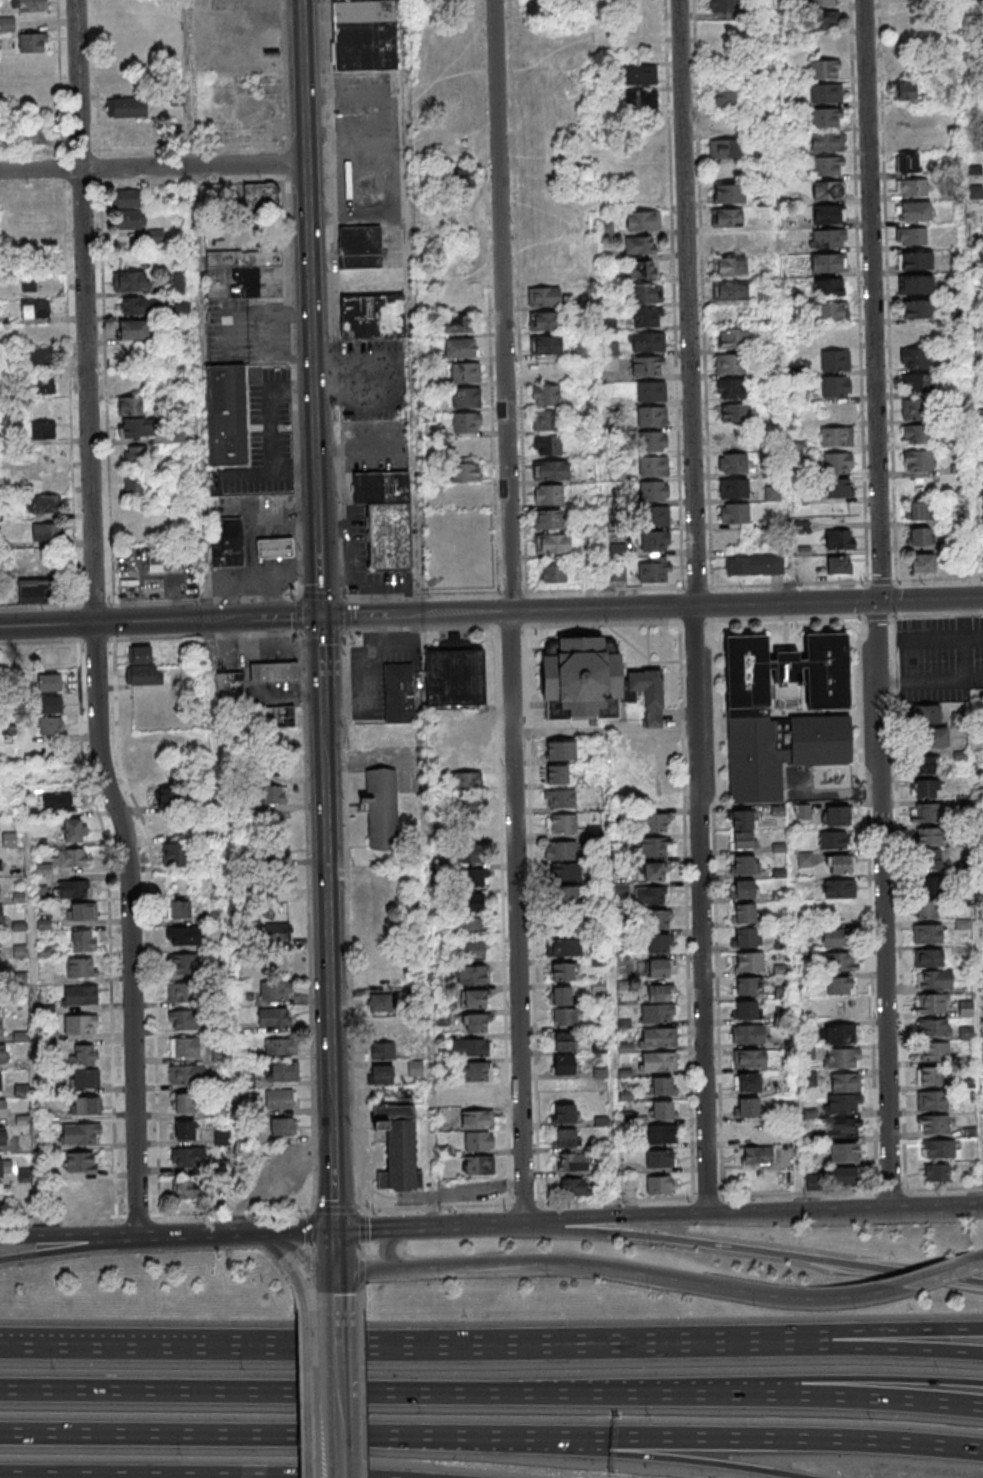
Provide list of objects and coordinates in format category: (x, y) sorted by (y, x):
building: (822, 3)
building: (29, 5)
building: (723, 7)
building: (822, 22)
building: (366, 36)
building: (32, 42)
building: (823, 70)
building: (640, 74)
building: (904, 90)
building: (824, 94)
building: (641, 99)
building: (724, 100)
building: (126, 107)
building: (825, 118)
building: (128, 131)
building: (35, 134)
building: (826, 142)
building: (725, 148)
building: (906, 163)
building: (826, 166)
road: (152, 167)
building: (459, 179)
building: (912, 188)
building: (827, 190)
building: (729, 193)
building: (262, 198)
building: (127, 210)
building: (914, 212)
building: (828, 214)
building: (726, 217)
building: (643, 220)
building: (913, 236)
building: (827, 238)
building: (729, 241)
building: (640, 245)
building: (360, 247)
building: (915, 260)
building: (828, 262)
building: (730, 266)
building: (641, 269)
building: (244, 274)
building: (29, 280)
building: (130, 280)
building: (180, 282)
building: (916, 284)
building: (829, 286)
building: (730, 290)
road: (859, 291)
road: (888, 291)
building: (645, 293)
building: (544, 296)
road: (966, 299)
building: (462, 301)
road: (779, 301)
road: (686, 303)
road: (596, 304)
building: (141, 305)
road: (409, 307)
building: (35, 308)
building: (918, 308)
building: (182, 309)
road: (197, 310)
building: (829, 310)
building: (373, 316)
building: (647, 317)
building: (545, 320)
building: (458, 325)
building: (134, 329)
building: (732, 339)
building: (648, 342)
building: (545, 344)
building: (460, 348)
building: (38, 358)
building: (916, 359)
building: (836, 362)
building: (729, 364)
building: (648, 365)
building: (465, 373)
building: (919, 382)
building: (43, 387)
building: (835, 387)
building: (730, 388)
building: (651, 391)
building: (545, 394)
building: (466, 398)
building: (129, 405)
building: (916, 409)
building: (229, 411)
building: (735, 413)
building: (651, 416)
building: (545, 419)
building: (467, 422)
building: (137, 427)
building: (43, 431)
road: (273, 431)
building: (918, 433)
building: (836, 436)
building: (653, 441)
building: (547, 444)
building: (135, 454)
building: (919, 461)
building: (842, 462)
building: (733, 463)
building: (653, 466)
building: (551, 470)
building: (465, 472)
building: (133, 483)
building: (838, 487)
building: (734, 488)
building: (654, 490)
building: (772, 493)
building: (548, 495)
building: (43, 504)
building: (917, 510)
building: (736, 513)
building: (656, 516)
building: (386, 517)
building: (548, 519)
road: (880, 528)
building: (46, 532)
building: (920, 536)
building: (840, 539)
building: (655, 541)
building: (552, 543)
building: (229, 544)
building: (275, 547)
building: (165, 561)
building: (922, 562)
building: (51, 564)
building: (754, 564)
building: (839, 565)
building: (655, 570)
building: (553, 573)
building: (618, 574)
building: (36, 591)
road: (491, 592)
road: (930, 599)
traffic signals: (877, 601)
road: (785, 604)
road: (507, 612)
road: (509, 612)
traffic signals: (320, 616)
road: (877, 616)
road: (782, 618)
road: (692, 620)
road: (93, 621)
road: (160, 621)
road: (602, 622)
road: (509, 624)
road: (418, 627)
road: (321, 632)
road: (962, 638)
road: (321, 655)
building: (48, 658)
building: (142, 667)
building: (275, 672)
building: (455, 675)
road: (929, 679)
building: (48, 682)
building: (594, 682)
building: (231, 690)
building: (399, 694)
building: (49, 704)
building: (927, 713)
building: (276, 717)
building: (51, 725)
road: (604, 730)
building: (934, 736)
building: (788, 740)
building: (561, 751)
building: (924, 765)
building: (273, 767)
building: (557, 774)
building: (464, 782)
building: (926, 789)
building: (273, 795)
building: (168, 798)
building: (559, 799)
building: (57, 802)
building: (470, 805)
building: (381, 808)
building: (930, 813)
building: (836, 815)
building: (741, 819)
building: (653, 822)
building: (561, 823)
building: (73, 829)
building: (470, 829)
building: (833, 840)
building: (742, 841)
building: (654, 846)
building: (930, 848)
building: (560, 851)
building: (469, 853)
building: (173, 855)
building: (805, 859)
building: (63, 860)
building: (839, 864)
building: (744, 865)
building: (654, 871)
building: (566, 872)
building: (472, 878)
building: (378, 881)
building: (932, 886)
building: (839, 888)
building: (64, 890)
building: (744, 890)
building: (564, 895)
building: (651, 895)
building: (473, 901)
building: (376, 905)
building: (178, 909)
road: (700, 909)
building: (81, 911)
building: (925, 911)
building: (744, 913)
building: (1, 914)
building: (658, 919)
road: (308, 920)
building: (563, 921)
road: (347, 923)
road: (230, 924)
building: (471, 925)
building: (279, 932)
building: (929, 934)
building: (183, 935)
building: (745, 938)
building: (838, 938)
building: (83, 940)
building: (658, 942)
road: (900, 942)
building: (563, 947)
building: (474, 950)
building: (928, 958)
building: (842, 962)
building: (185, 963)
building: (748, 963)
building: (80, 967)
building: (659, 967)
building: (563, 971)
building: (471, 974)
road: (609, 974)
road: (978, 975)
building: (934, 979)
building: (745, 986)
building: (840, 986)
building: (181, 992)
building: (276, 992)
building: (660, 992)
building: (79, 995)
building: (560, 995)
building: (474, 998)
building: (379, 1002)
building: (931, 1004)
road: (37, 1007)
road: (795, 1008)
building: (966, 1009)
building: (744, 1010)
building: (842, 1010)
building: (657, 1013)
building: (272, 1016)
building: (563, 1017)
building: (183, 1019)
building: (476, 1022)
building: (1, 1023)
building: (81, 1024)
building: (381, 1026)
building: (933, 1028)
building: (748, 1034)
building: (965, 1034)
building: (841, 1035)
building: (659, 1037)
building: (564, 1041)
building: (184, 1046)
building: (280, 1046)
road: (427, 1047)
building: (472, 1047)
building: (382, 1050)
building: (808, 1053)
building: (933, 1053)
building: (3, 1054)
building: (82, 1054)
building: (749, 1058)
building: (842, 1059)
building: (659, 1061)
building: (563, 1065)
building: (415, 1068)
building: (281, 1071)
building: (476, 1071)
building: (186, 1074)
building: (380, 1074)
building: (929, 1077)
building: (84, 1078)
building: (809, 1079)
building: (0, 1081)
building: (747, 1082)
building: (845, 1083)
building: (662, 1086)
building: (475, 1095)
building: (280, 1098)
building: (932, 1101)
building: (184, 1102)
building: (844, 1104)
building: (84, 1105)
building: (747, 1107)
building: (2, 1108)
building: (663, 1110)
building: (565, 1113)
building: (477, 1119)
building: (933, 1125)
building: (282, 1126)
building: (845, 1128)
building: (184, 1130)
building: (751, 1132)
building: (80, 1133)
building: (664, 1134)
road: (890, 1134)
building: (2, 1136)
building: (564, 1138)
building: (478, 1141)
building: (396, 1145)
building: (938, 1149)
building: (843, 1153)
building: (756, 1155)
building: (188, 1157)
building: (811, 1158)
building: (659, 1159)
building: (572, 1161)
building: (80, 1162)
building: (478, 1165)
building: (5, 1167)
building: (936, 1173)
building: (840, 1176)
building: (812, 1184)
building: (659, 1185)
building: (575, 1186)
building: (189, 1188)
road: (335, 1209)
road: (938, 1209)
road: (709, 1213)
road: (430, 1227)
traffic signals: (336, 1231)
road: (237, 1232)
road: (70, 1235)
road: (307, 1240)
road: (360, 1248)
road: (387, 1248)
road: (70, 1250)
road: (754, 1251)
road: (308, 1259)
road: (290, 1267)
road: (619, 1270)
road: (941, 1273)
road: (311, 1290)
road: (359, 1297)
road: (868, 1330)
road: (377, 1344)
road: (868, 1348)
road: (857, 1378)
road: (307, 1394)
road: (314, 1394)
road: (339, 1394)
road: (361, 1394)
road: (491, 1394)
road: (243, 1434)
road: (735, 1436)
road: (649, 1455)

